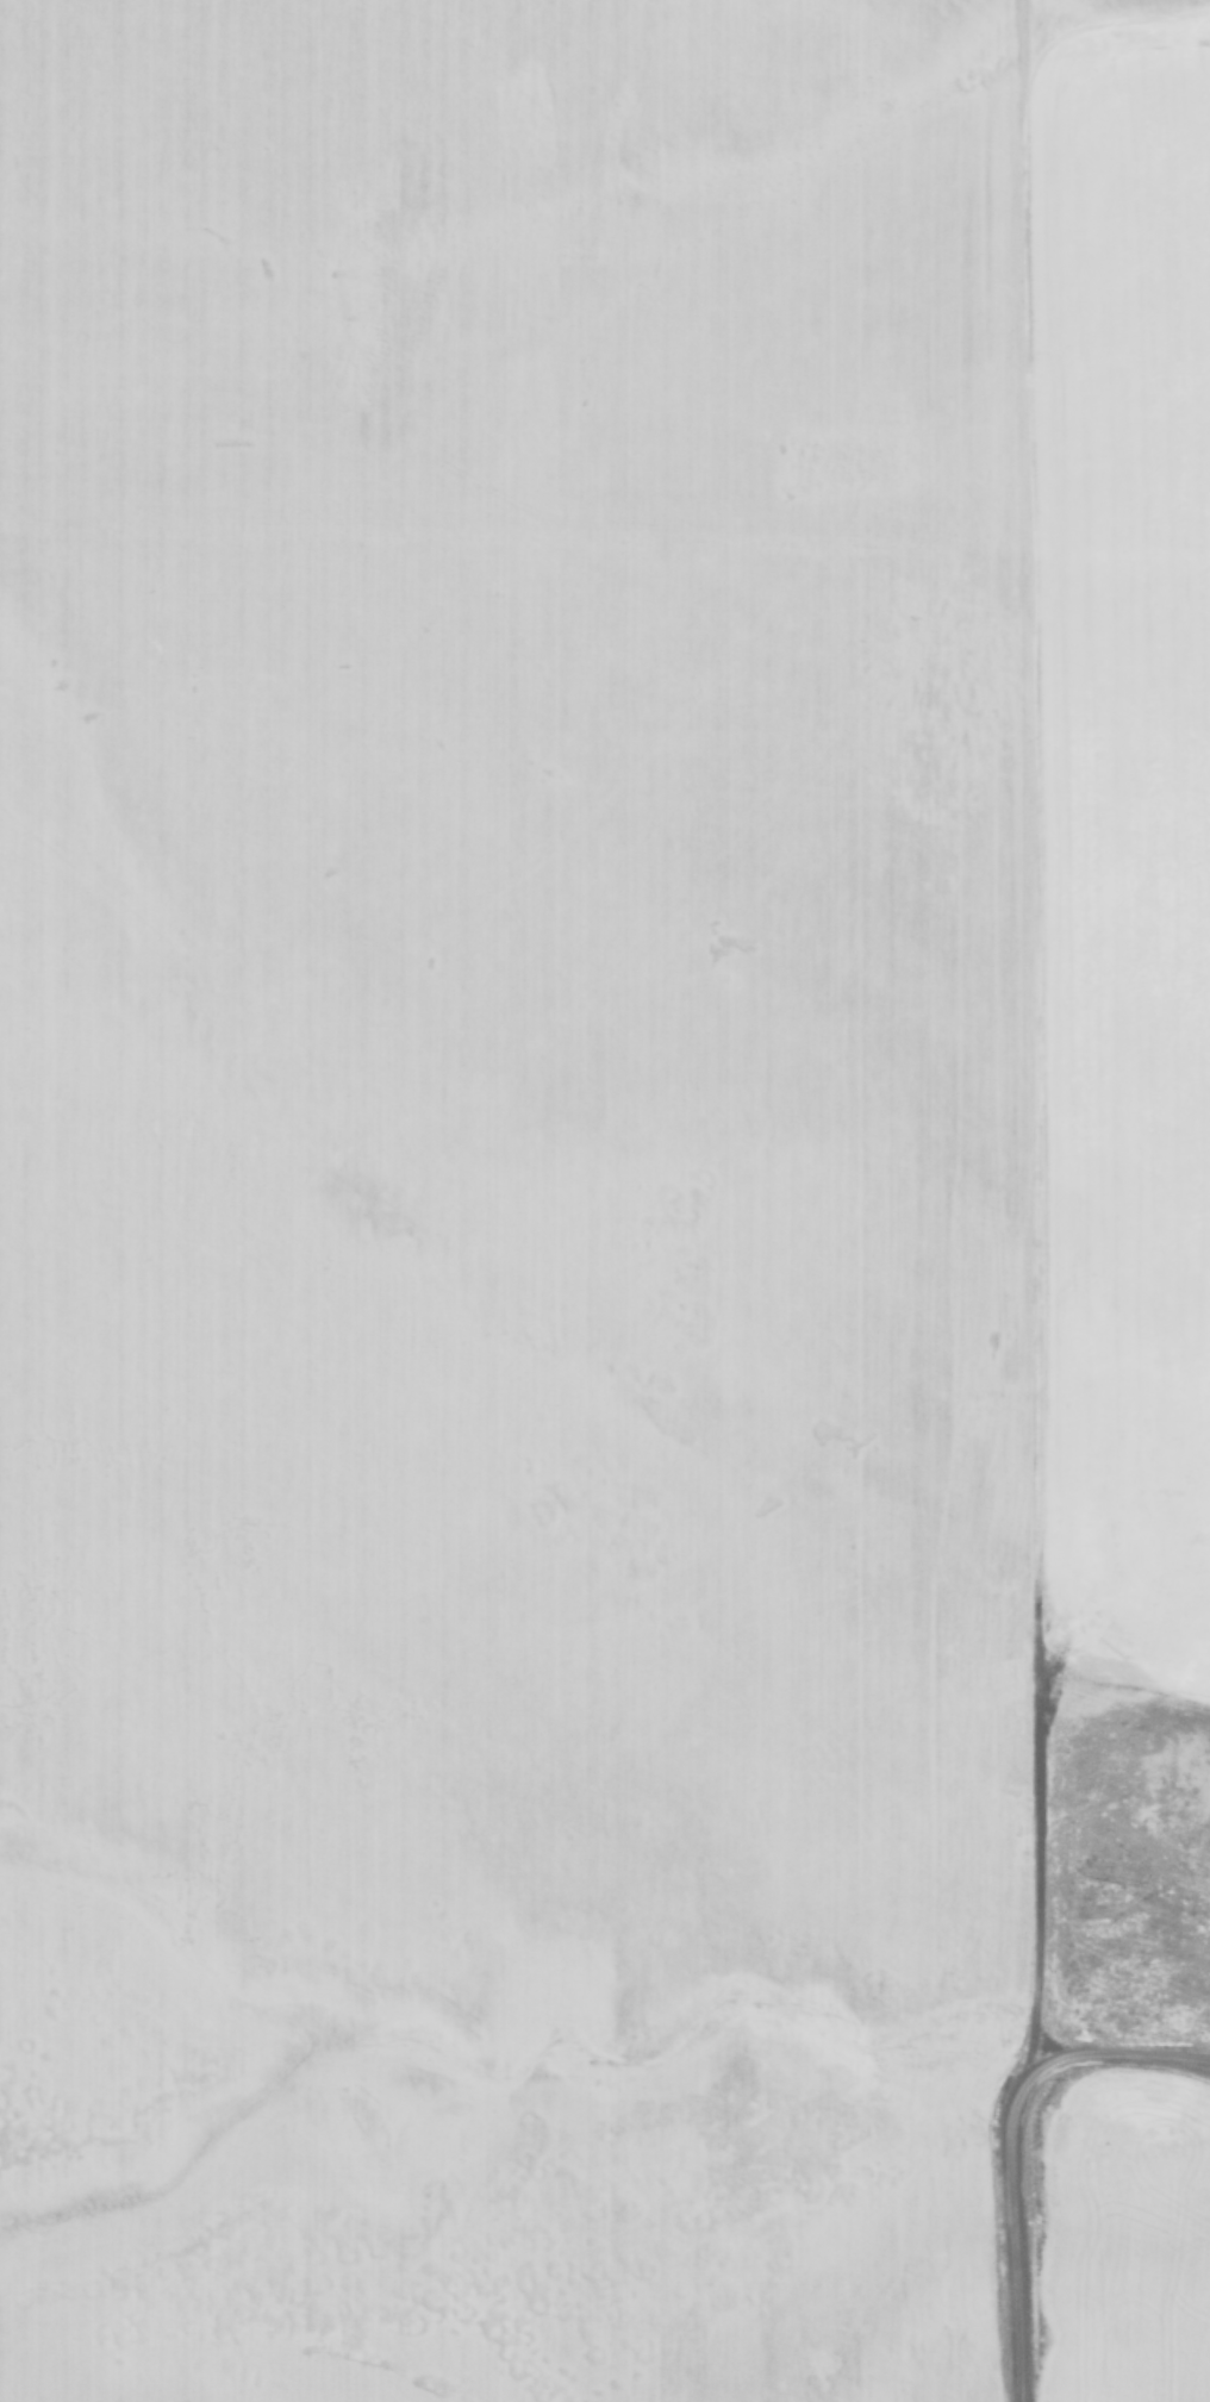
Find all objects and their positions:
road: (1022, 2225)

